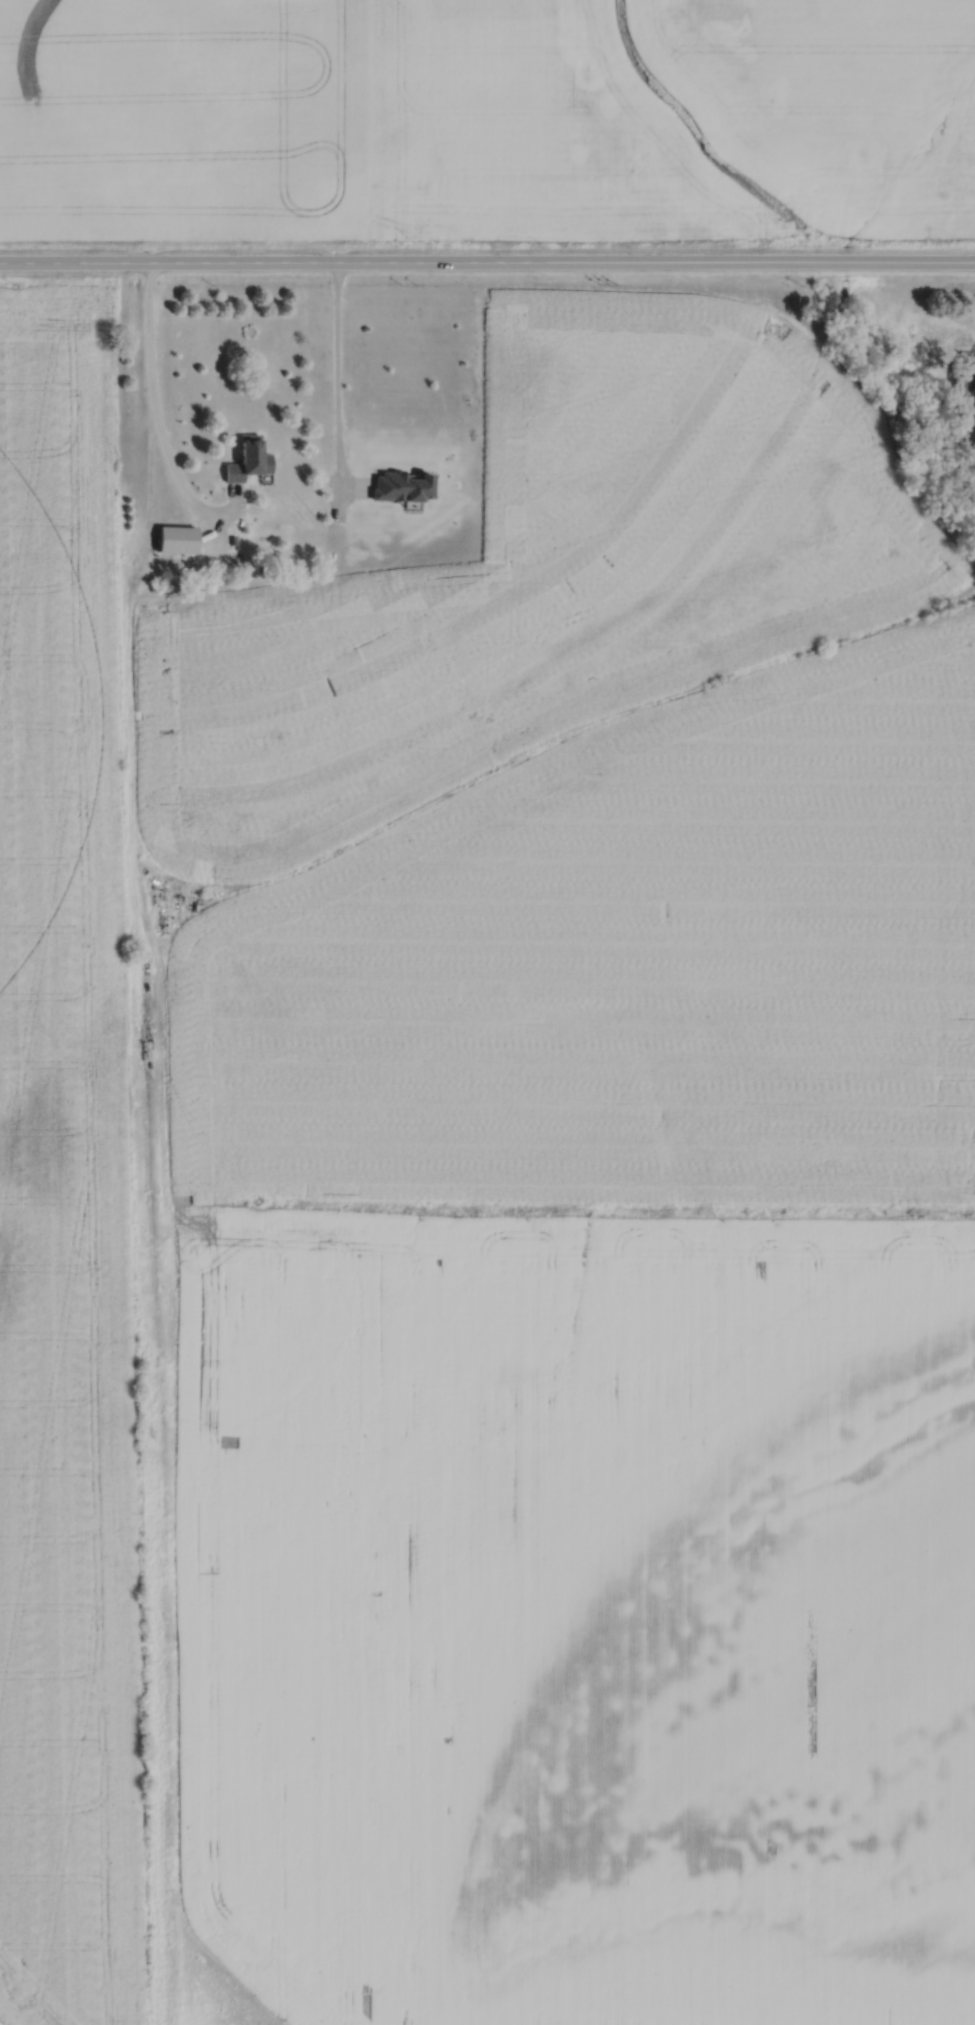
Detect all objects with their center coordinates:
road: (487, 262)
road: (340, 373)
road: (158, 400)
building: (246, 461)

